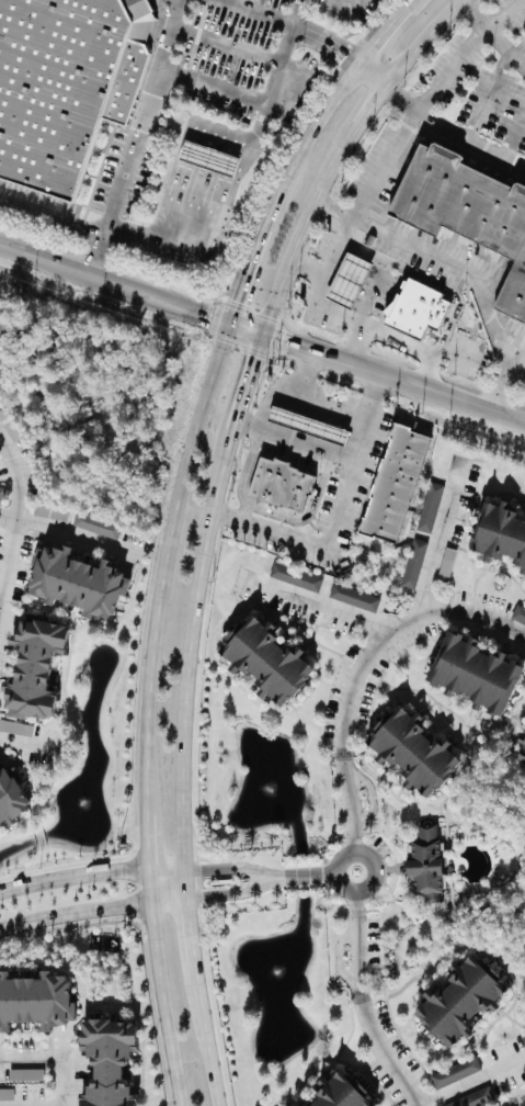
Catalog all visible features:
road: (341, 2)
road: (258, 12)
road: (381, 34)
road: (315, 37)
road: (492, 38)
road: (422, 44)
road: (227, 45)
road: (281, 64)
road: (367, 79)
building: (61, 81)
road: (214, 84)
road: (487, 98)
road: (324, 114)
road: (404, 123)
road: (357, 127)
road: (450, 133)
road: (514, 136)
road: (137, 137)
building: (204, 159)
gas station: (204, 159)
building: (469, 214)
road: (52, 217)
road: (216, 218)
road: (260, 239)
road: (294, 248)
road: (45, 257)
road: (457, 272)
building: (347, 278)
gas station: (347, 278)
road: (160, 297)
traffic signals: (237, 301)
road: (48, 303)
building: (418, 306)
traffic signals: (213, 317)
building: (2, 318)
road: (353, 321)
road: (247, 329)
road: (57, 336)
traffic signals: (281, 341)
road: (158, 342)
road: (354, 343)
road: (321, 353)
traffic signals: (256, 356)
road: (119, 359)
road: (284, 381)
road: (174, 383)
road: (91, 391)
road: (453, 395)
road: (334, 399)
road: (240, 402)
building: (308, 418)
gas station: (308, 418)
building: (335, 436)
road: (293, 438)
building: (396, 476)
building: (279, 477)
building: (1, 495)
building: (430, 507)
building: (50, 511)
road: (338, 512)
road: (15, 523)
building: (96, 526)
building: (501, 529)
road: (71, 532)
road: (441, 540)
road: (166, 560)
building: (414, 563)
building: (446, 565)
building: (80, 578)
building: (296, 578)
building: (355, 597)
road: (313, 606)
road: (0, 608)
building: (520, 613)
road: (393, 631)
building: (270, 661)
building: (36, 665)
building: (478, 670)
road: (187, 682)
building: (15, 729)
road: (28, 745)
building: (414, 747)
building: (522, 754)
fountain: (270, 790)
building: (14, 793)
road: (350, 803)
fountain: (84, 804)
road: (148, 835)
building: (426, 862)
road: (233, 869)
road: (91, 873)
road: (329, 876)
road: (303, 878)
road: (150, 885)
road: (355, 891)
road: (236, 892)
road: (169, 902)
road: (75, 913)
road: (191, 936)
road: (359, 940)
fountain: (274, 969)
building: (35, 997)
building: (463, 998)
road: (166, 1005)
road: (207, 1039)
road: (384, 1050)
road: (55, 1060)
building: (112, 1061)
building: (454, 1073)
road: (471, 1082)
building: (343, 1092)
building: (5, 1094)
building: (475, 1098)
building: (306, 1104)

